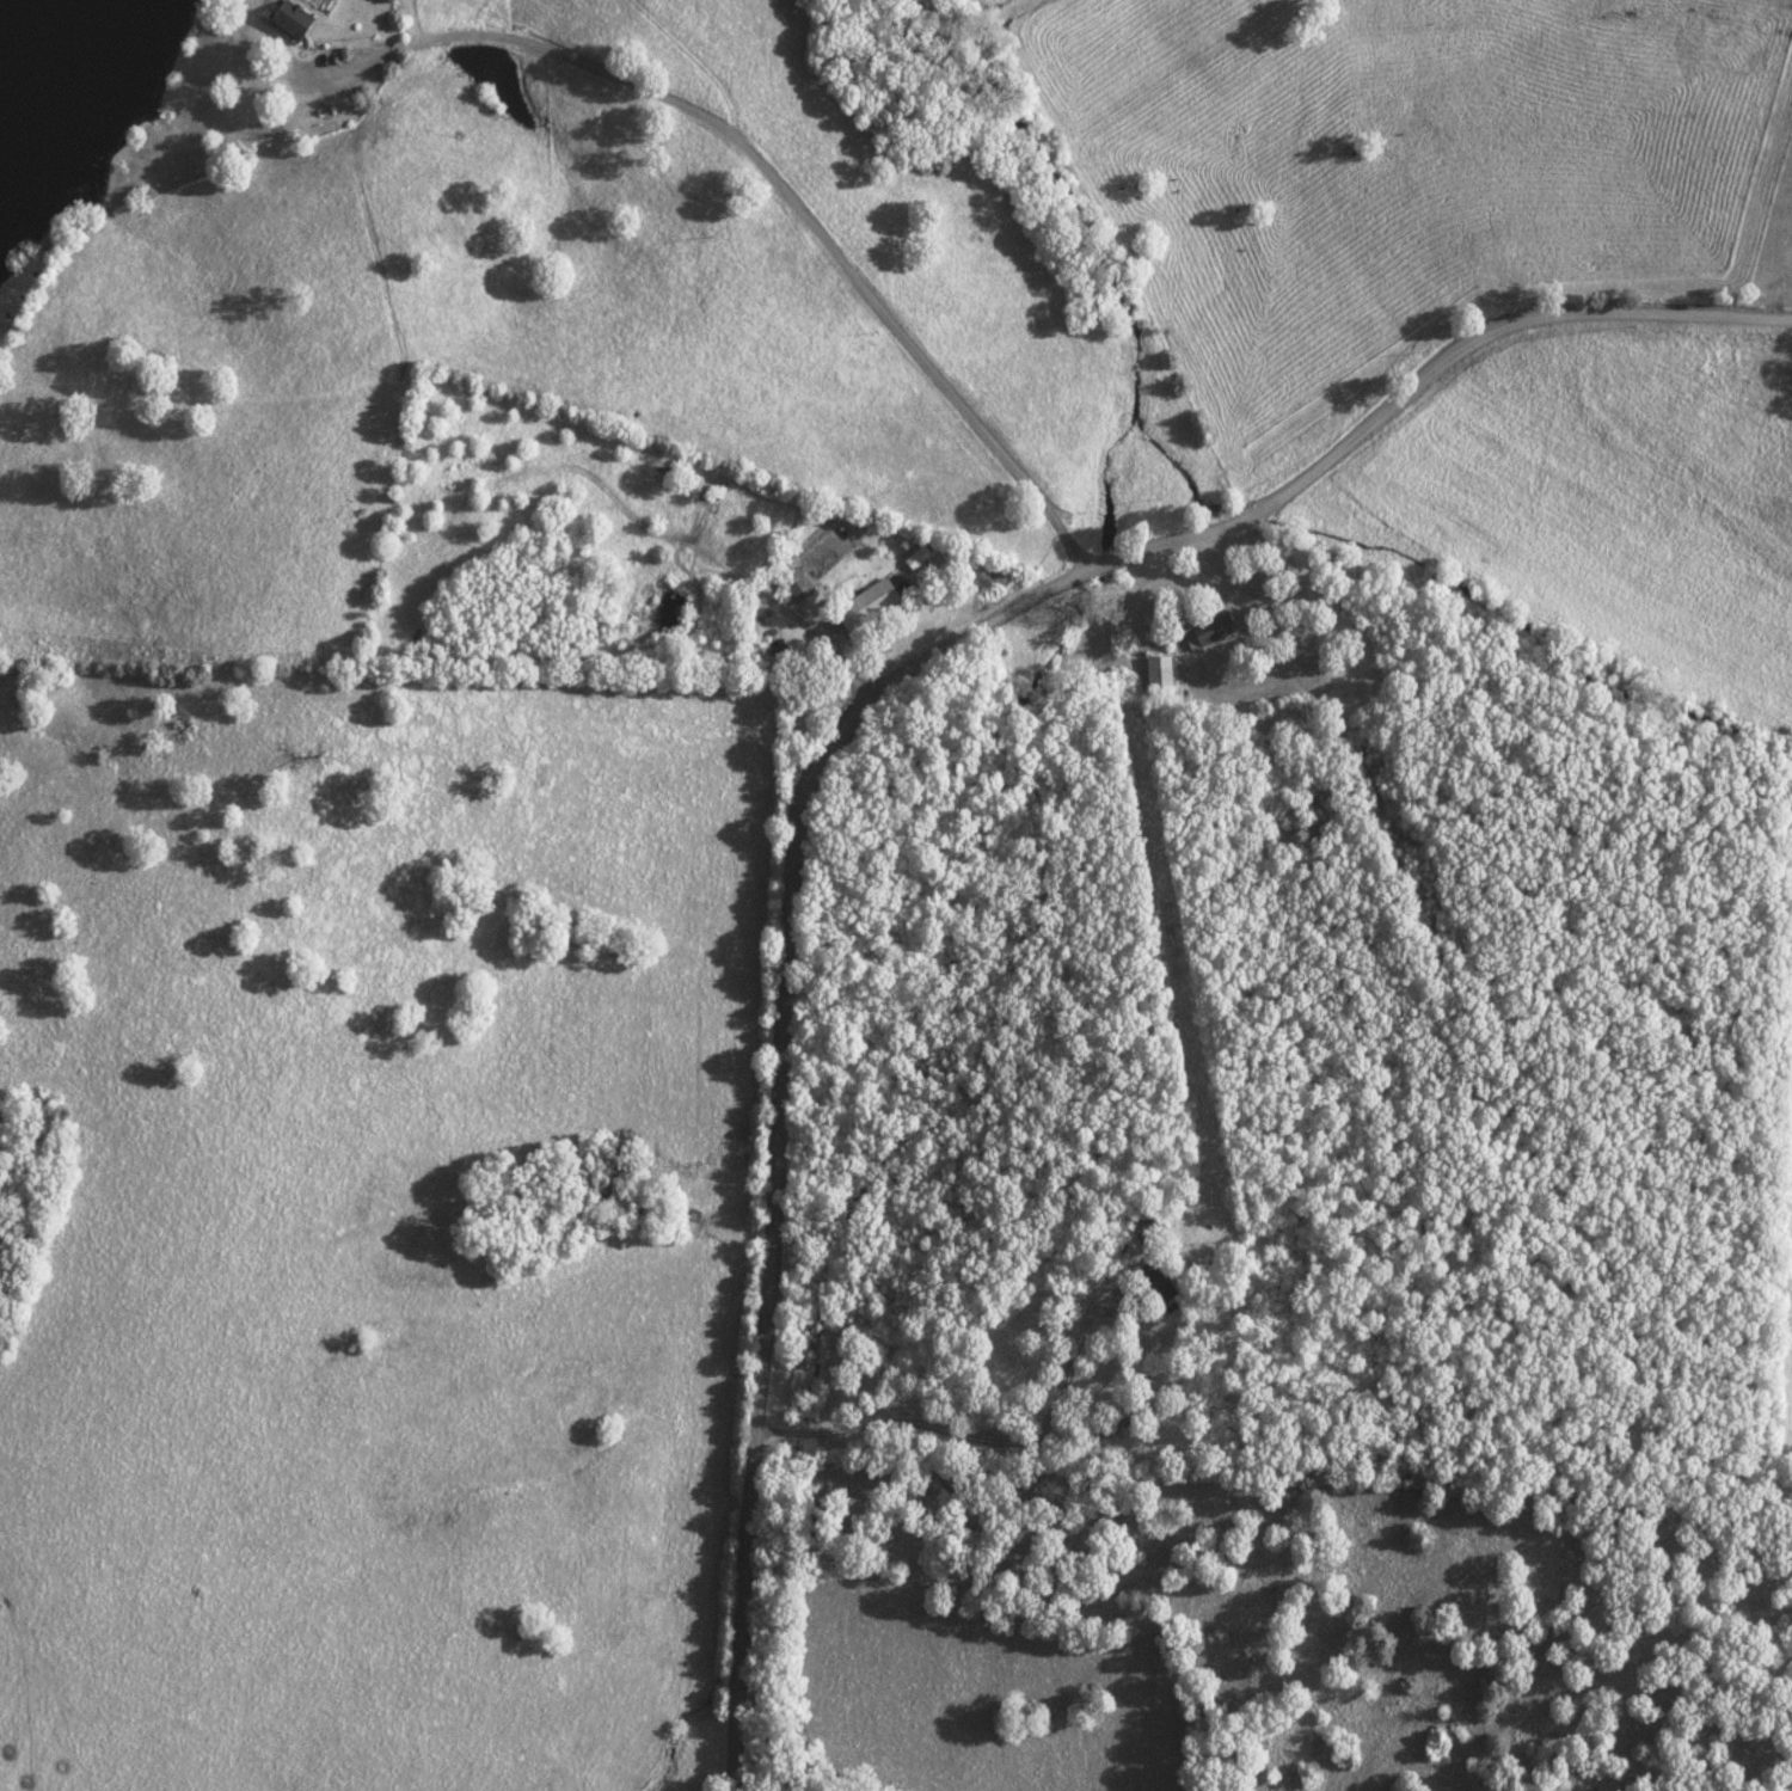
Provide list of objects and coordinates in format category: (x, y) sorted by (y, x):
building: (289, 18)
road: (763, 174)
building: (794, 584)
building: (865, 602)
building: (1211, 627)
building: (1158, 670)
road: (839, 725)
building: (1154, 1280)
road: (1008, 1439)

